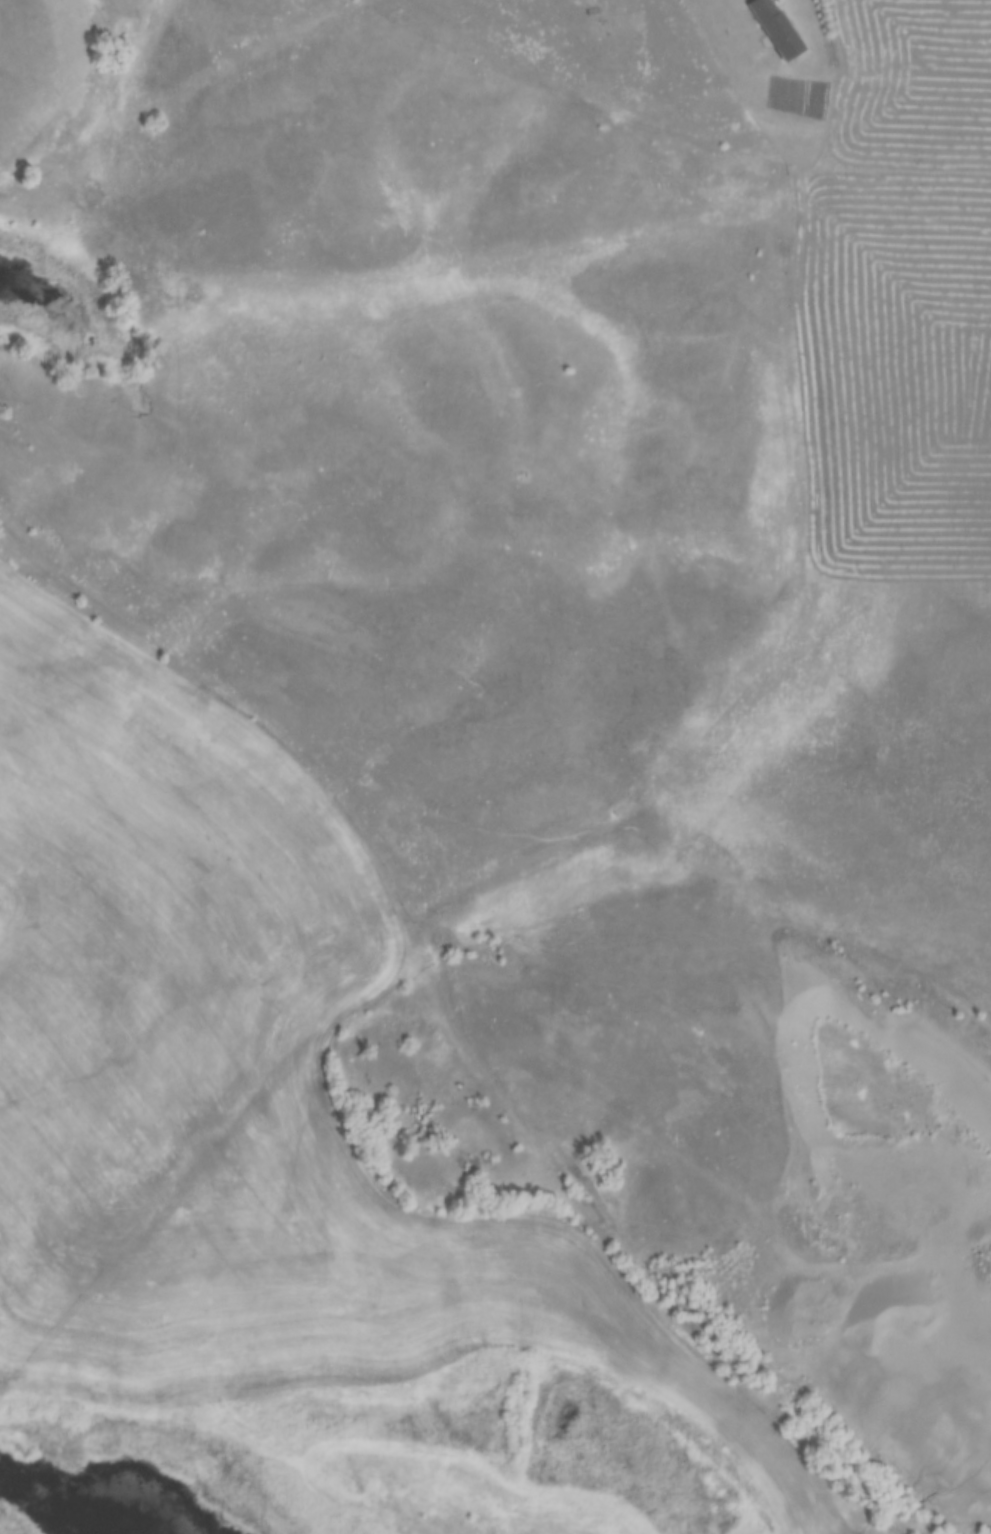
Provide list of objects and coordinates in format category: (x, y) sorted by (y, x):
building: (773, 29)
road: (549, 850)
road: (406, 888)
road: (896, 1314)

